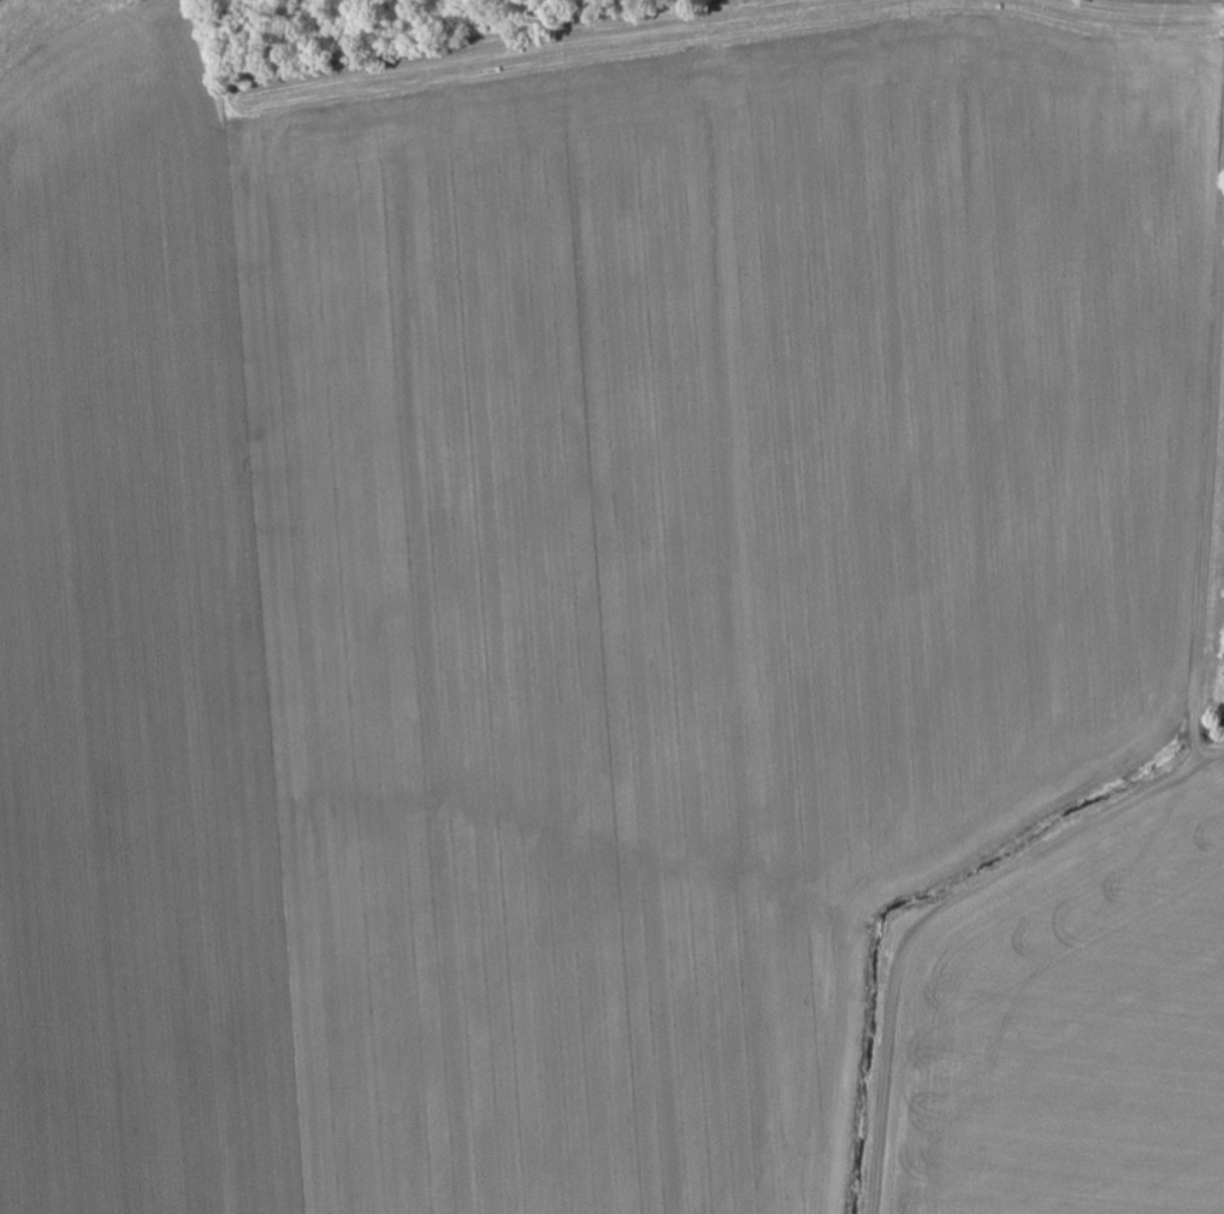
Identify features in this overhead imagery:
road: (1208, 490)
road: (944, 909)

